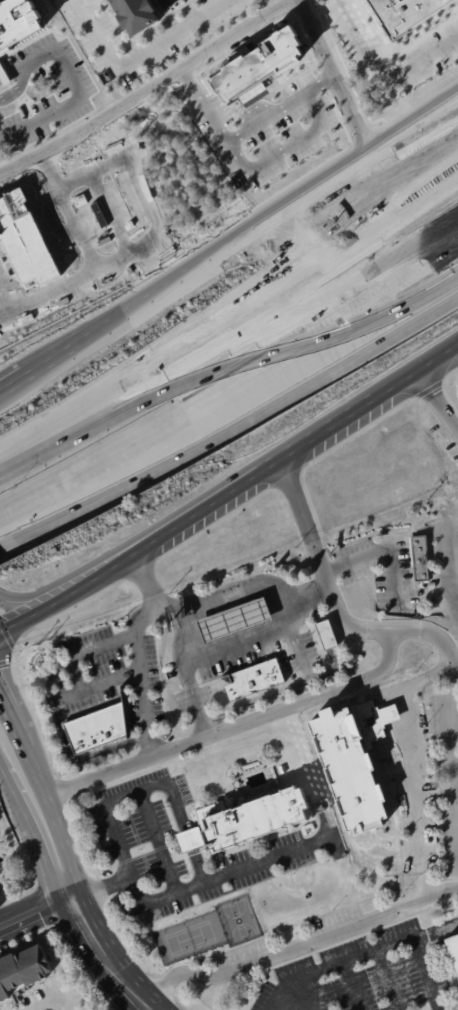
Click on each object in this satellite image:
building: (137, 15)
building: (415, 15)
building: (17, 24)
road: (139, 55)
building: (266, 66)
road: (14, 71)
road: (333, 74)
road: (380, 75)
building: (3, 76)
road: (71, 76)
road: (4, 77)
road: (0, 79)
road: (146, 91)
road: (200, 108)
road: (370, 145)
road: (123, 156)
road: (372, 161)
road: (258, 164)
road: (106, 204)
road: (400, 205)
road: (77, 227)
road: (65, 282)
road: (156, 288)
road: (278, 322)
road: (216, 329)
road: (284, 346)
road: (437, 358)
railway: (235, 370)
road: (285, 370)
road: (13, 379)
road: (437, 403)
road: (45, 442)
road: (246, 482)
road: (56, 484)
road: (377, 550)
building: (422, 557)
road: (245, 589)
road: (150, 593)
road: (37, 595)
building: (433, 600)
road: (38, 609)
building: (238, 619)
road: (347, 625)
building: (327, 636)
road: (233, 647)
road: (455, 671)
road: (73, 673)
building: (293, 678)
building: (251, 680)
road: (144, 692)
road: (195, 695)
road: (65, 699)
road: (6, 706)
road: (14, 724)
road: (233, 726)
building: (97, 730)
road: (63, 747)
road: (453, 754)
building: (350, 762)
road: (165, 783)
road: (413, 793)
road: (13, 799)
road: (47, 799)
building: (253, 820)
building: (190, 840)
road: (155, 843)
road: (268, 859)
road: (41, 868)
road: (71, 885)
road: (439, 892)
road: (34, 914)
park: (237, 921)
building: (123, 933)
park: (189, 938)
road: (401, 941)
building: (453, 952)
road: (278, 953)
road: (101, 959)
road: (325, 968)
building: (25, 972)
road: (352, 986)
road: (49, 1000)
road: (284, 1003)
road: (133, 1005)

